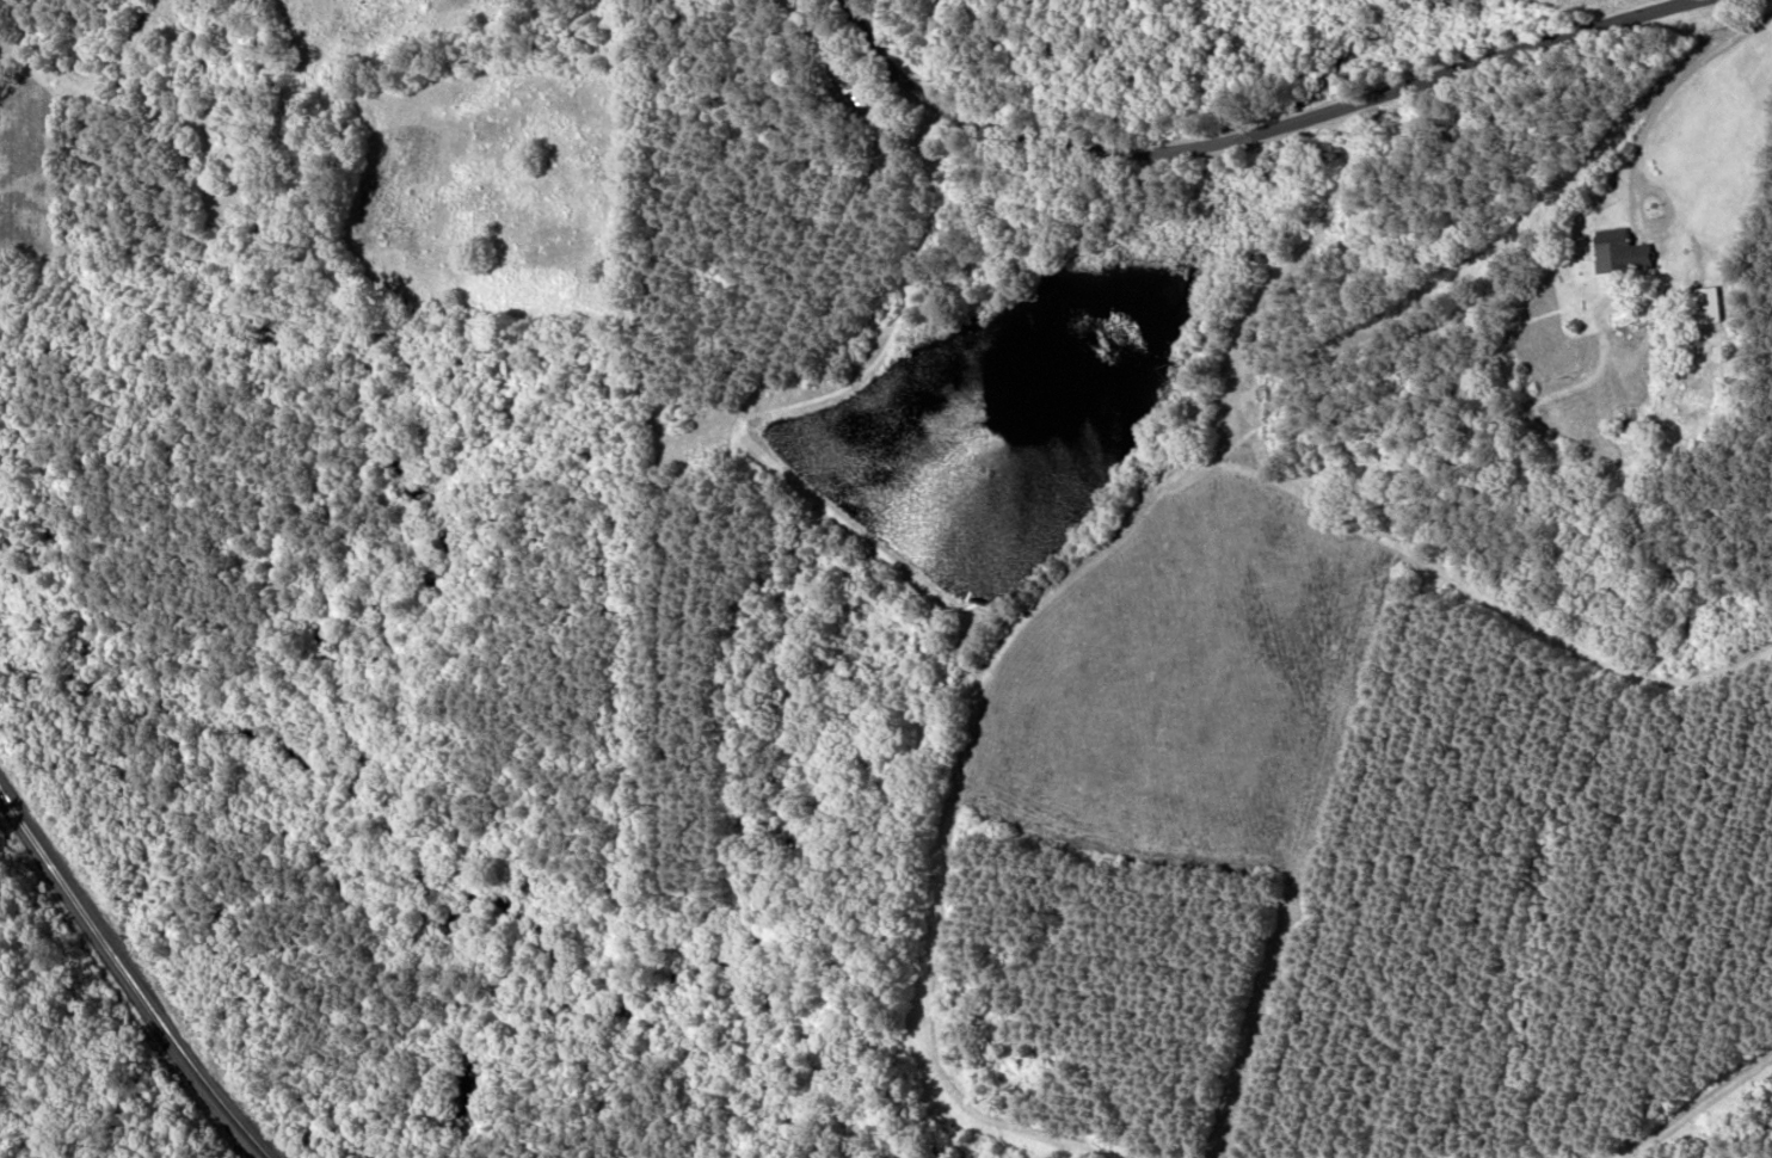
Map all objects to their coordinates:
road: (922, 21)
road: (1247, 131)
building: (1624, 252)
building: (1708, 306)
railway: (128, 979)

